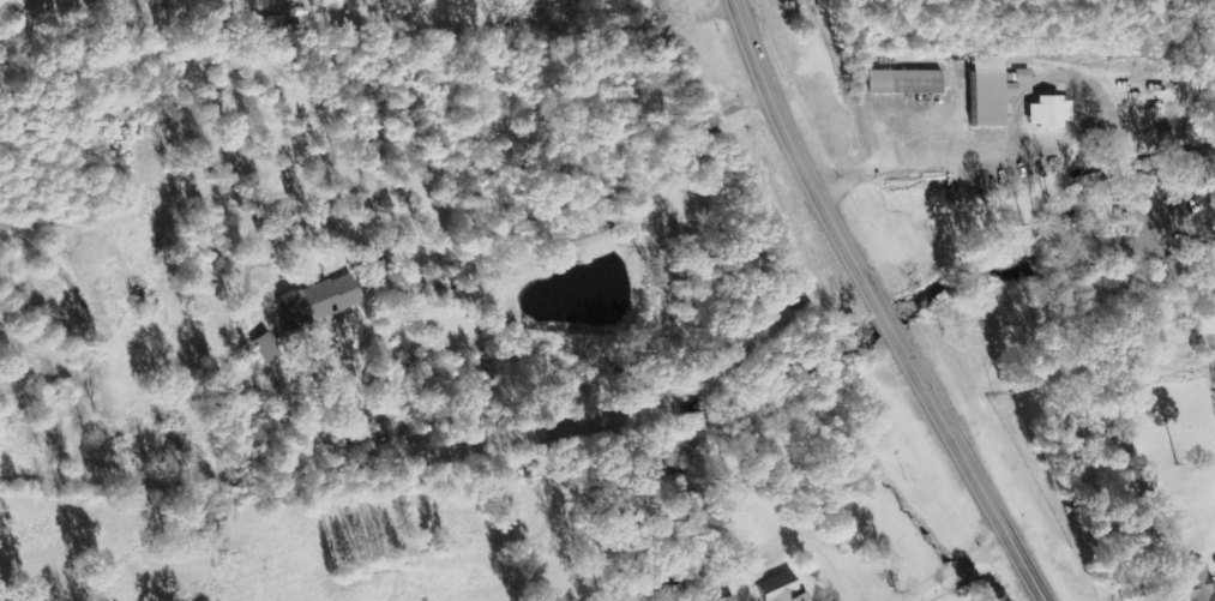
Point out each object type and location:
building: (1021, 76)
building: (903, 82)
building: (986, 92)
building: (1045, 113)
building: (311, 301)
road: (879, 305)
building: (257, 348)
building: (1191, 584)
building: (778, 589)
building: (723, 599)

